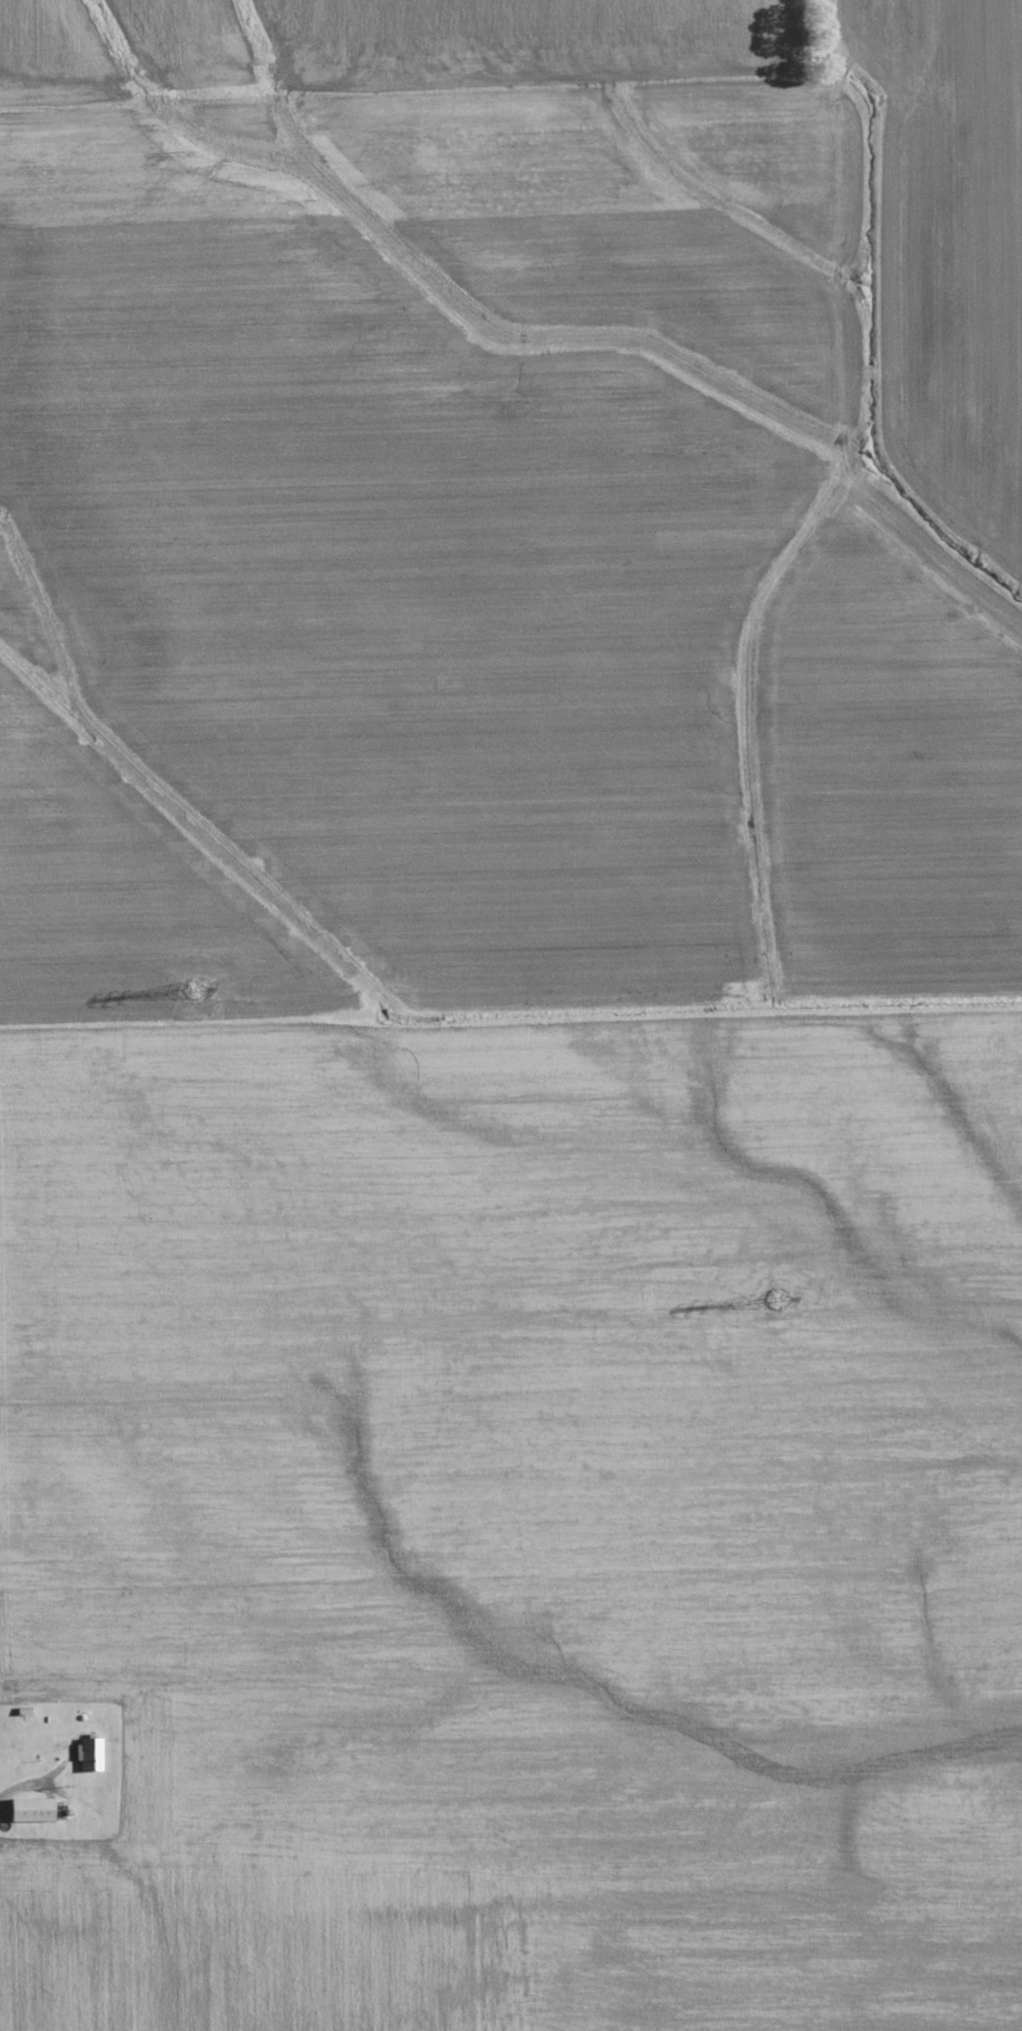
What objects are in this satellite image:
power tower: (197, 994)
power tower: (769, 1312)
building: (93, 1754)
building: (36, 1810)

